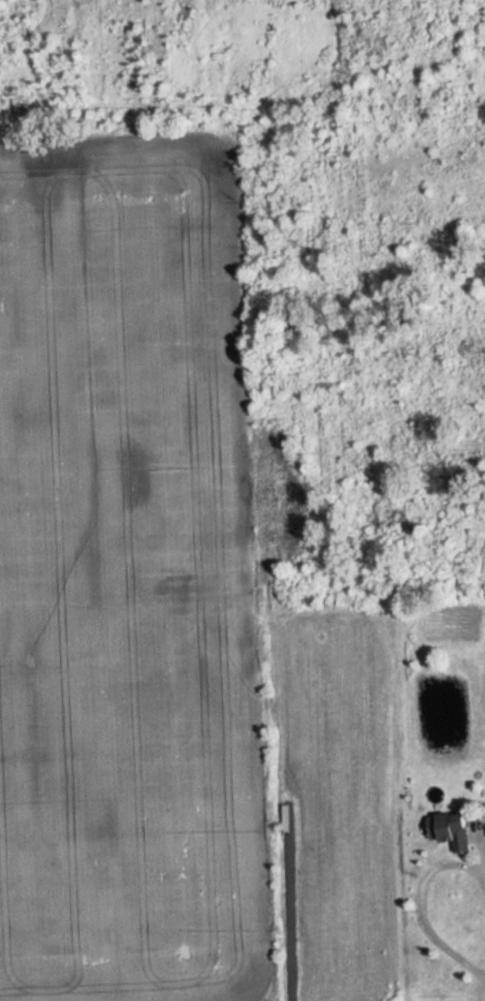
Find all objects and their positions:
building: (452, 829)

